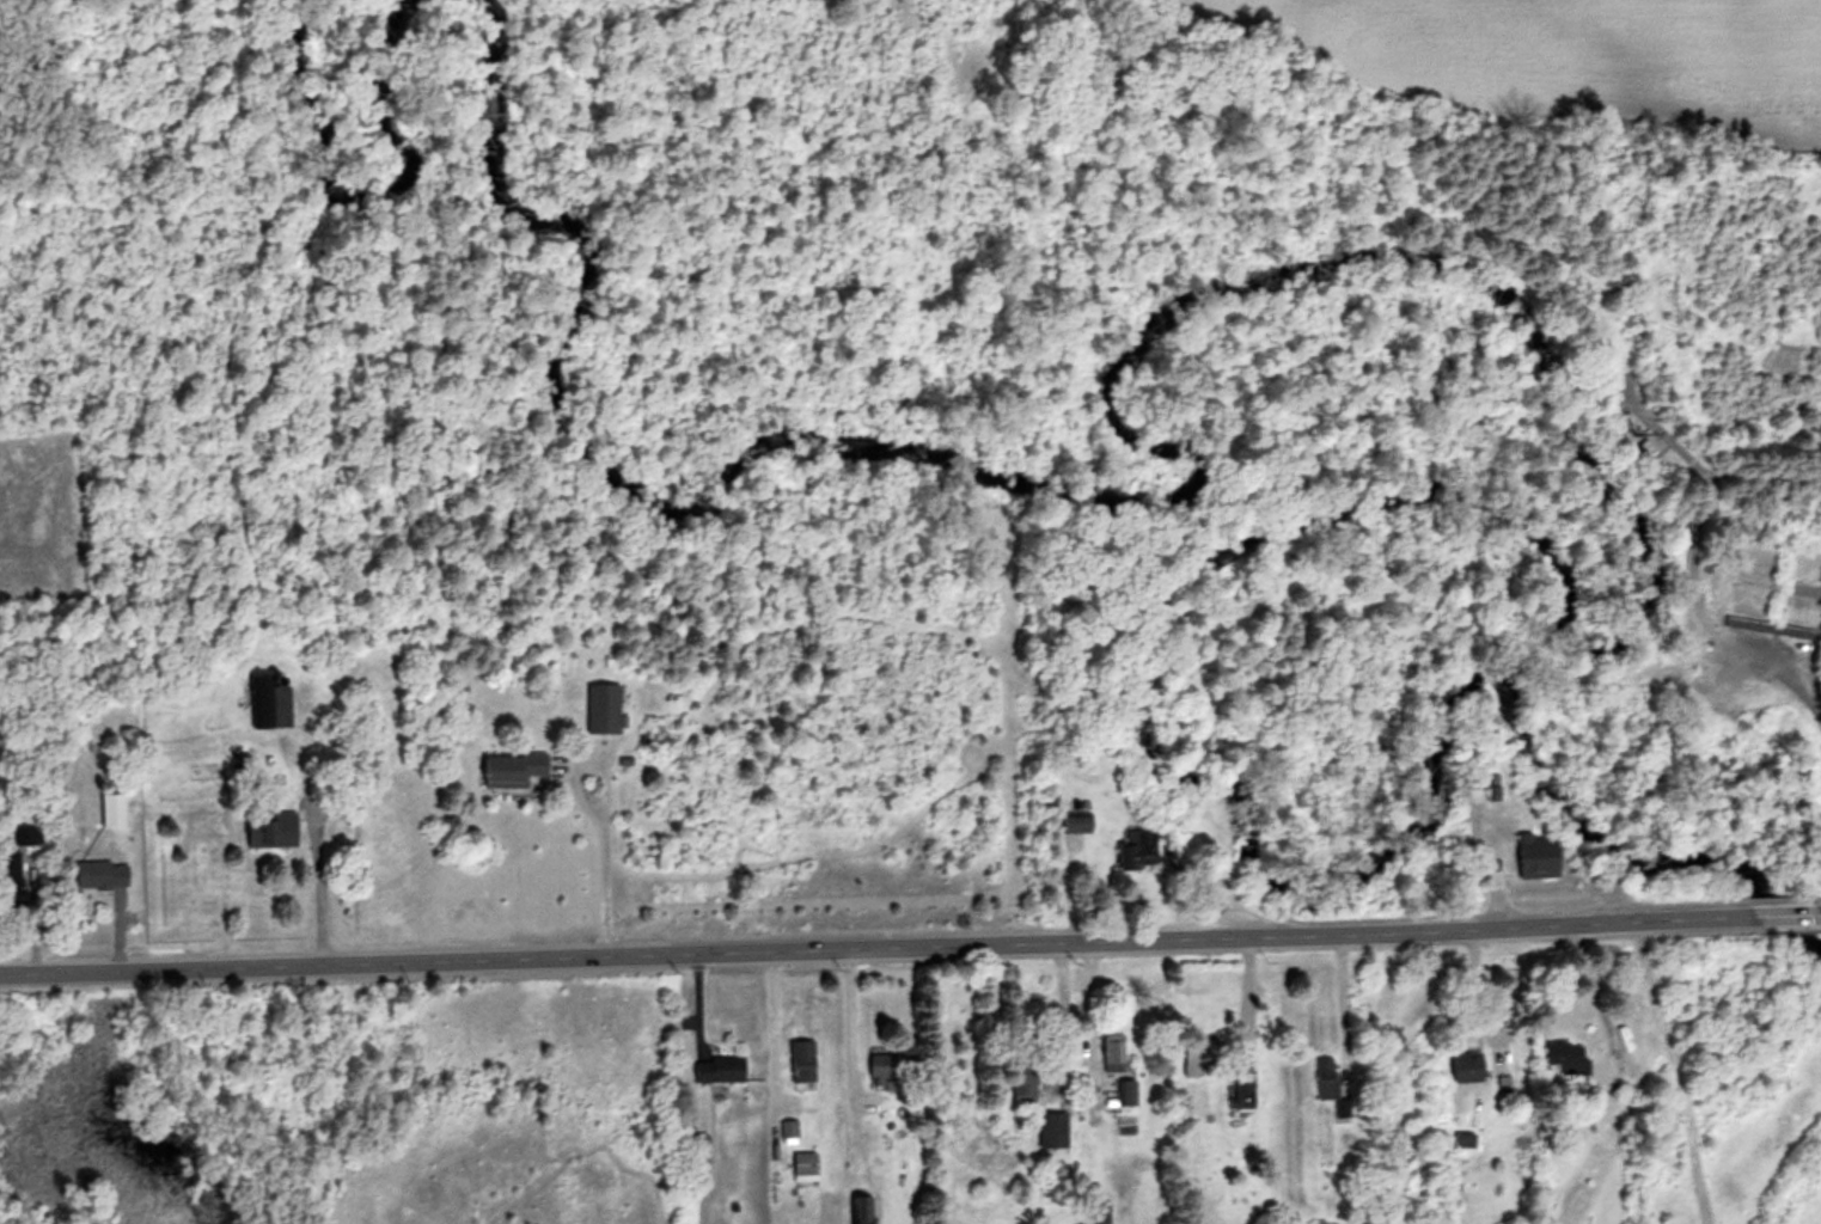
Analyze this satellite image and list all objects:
building: (1637, 436)
building: (1771, 629)
building: (258, 697)
building: (600, 709)
building: (509, 770)
building: (1075, 827)
building: (268, 832)
building: (22, 837)
building: (1137, 851)
building: (1536, 857)
road: (597, 869)
building: (98, 876)
building: (8, 881)
road: (312, 883)
road: (1816, 914)
road: (1778, 916)
road: (872, 944)
road: (1584, 994)
road: (1243, 996)
road: (1337, 1006)
road: (1058, 1010)
road: (847, 1012)
road: (1088, 1016)
road: (769, 1020)
building: (1111, 1052)
building: (1197, 1055)
building: (1564, 1055)
building: (800, 1060)
building: (882, 1067)
building: (1465, 1067)
building: (717, 1069)
road: (1675, 1072)
building: (1021, 1076)
building: (1324, 1077)
building: (1241, 1088)
building: (1125, 1091)
building: (788, 1128)
building: (1050, 1130)
building: (695, 1147)
building: (803, 1167)
building: (860, 1210)

